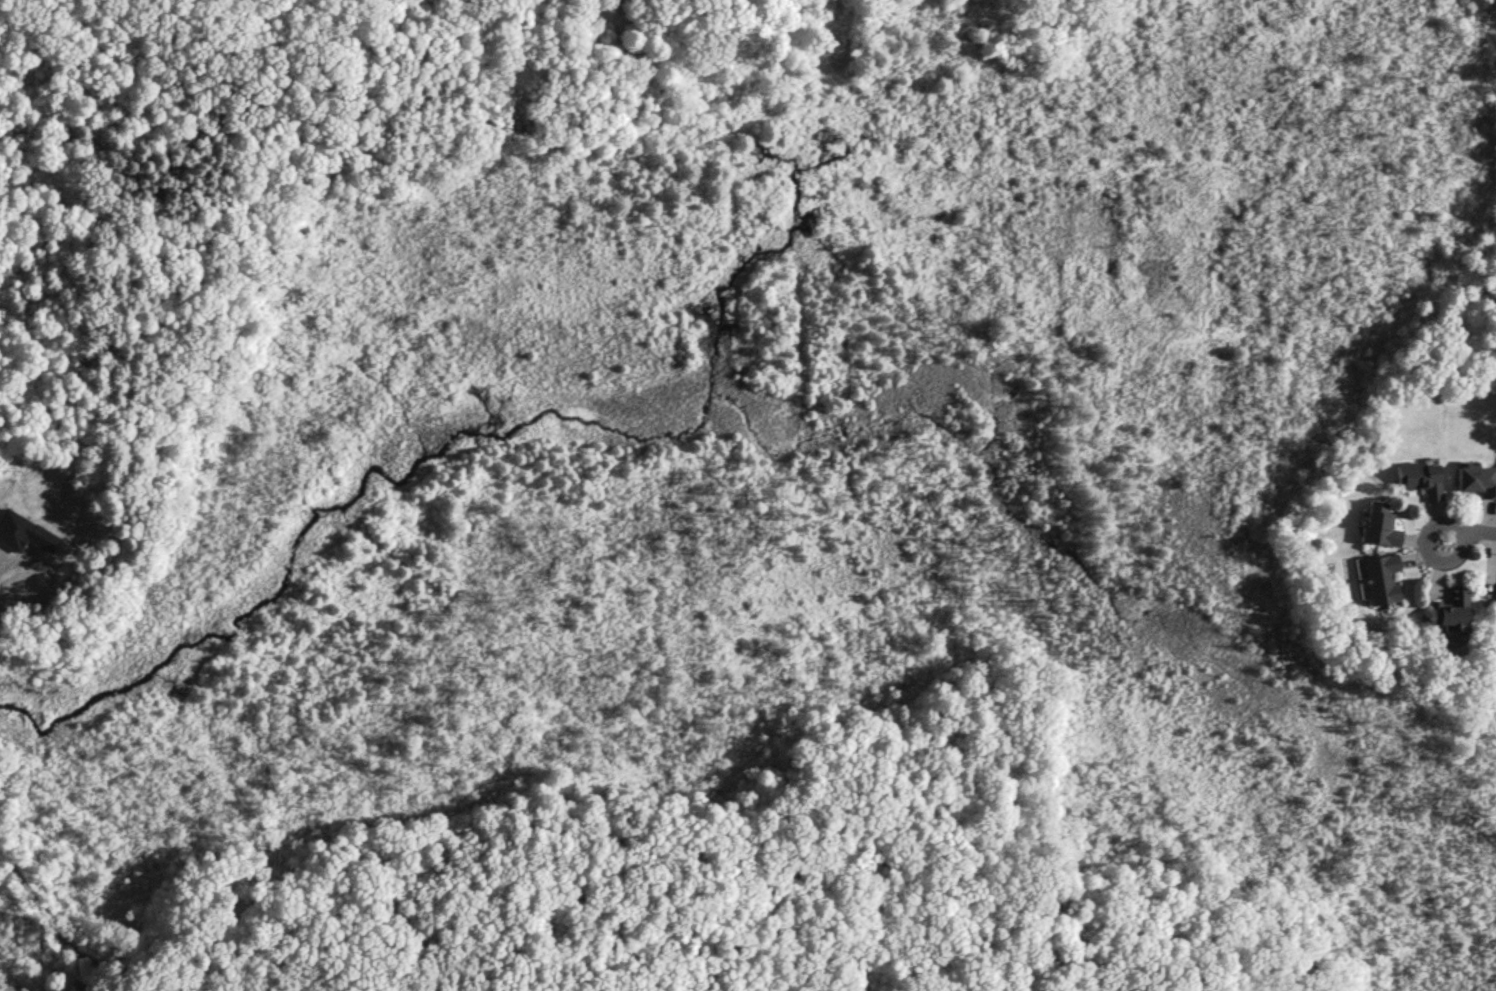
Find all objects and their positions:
building: (1421, 478)
building: (1477, 479)
building: (1377, 524)
road: (1478, 535)
road: (1426, 551)
building: (1381, 578)
building: (1451, 610)
road: (80, 949)

